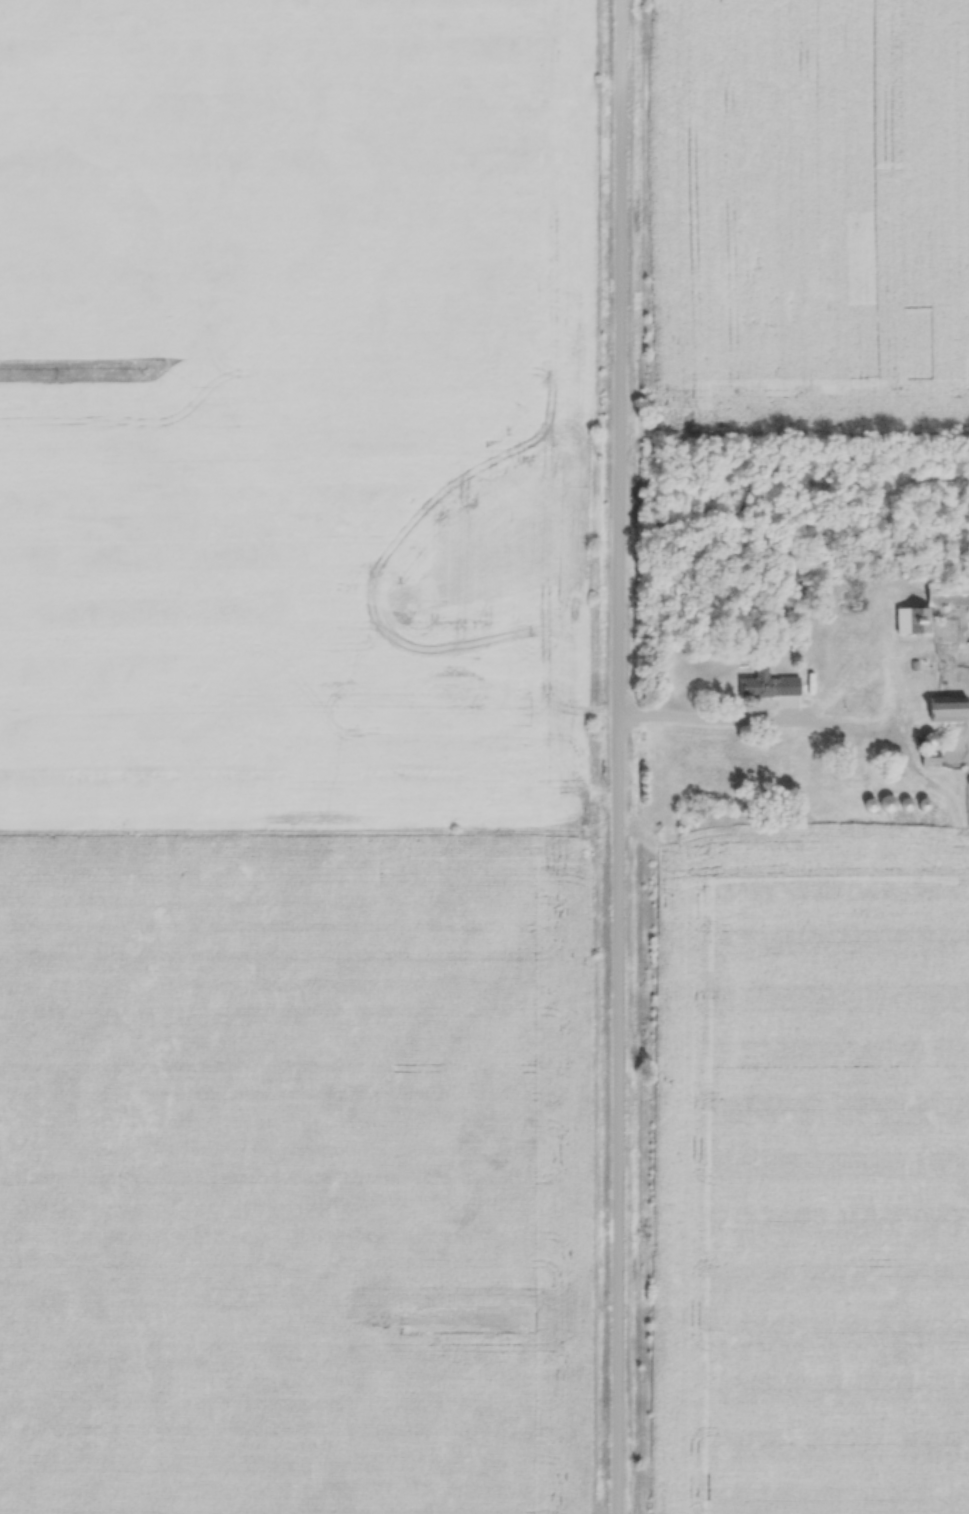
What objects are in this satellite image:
building: (933, 607)
building: (761, 685)
building: (950, 710)
road: (719, 721)
road: (615, 756)
building: (794, 766)

